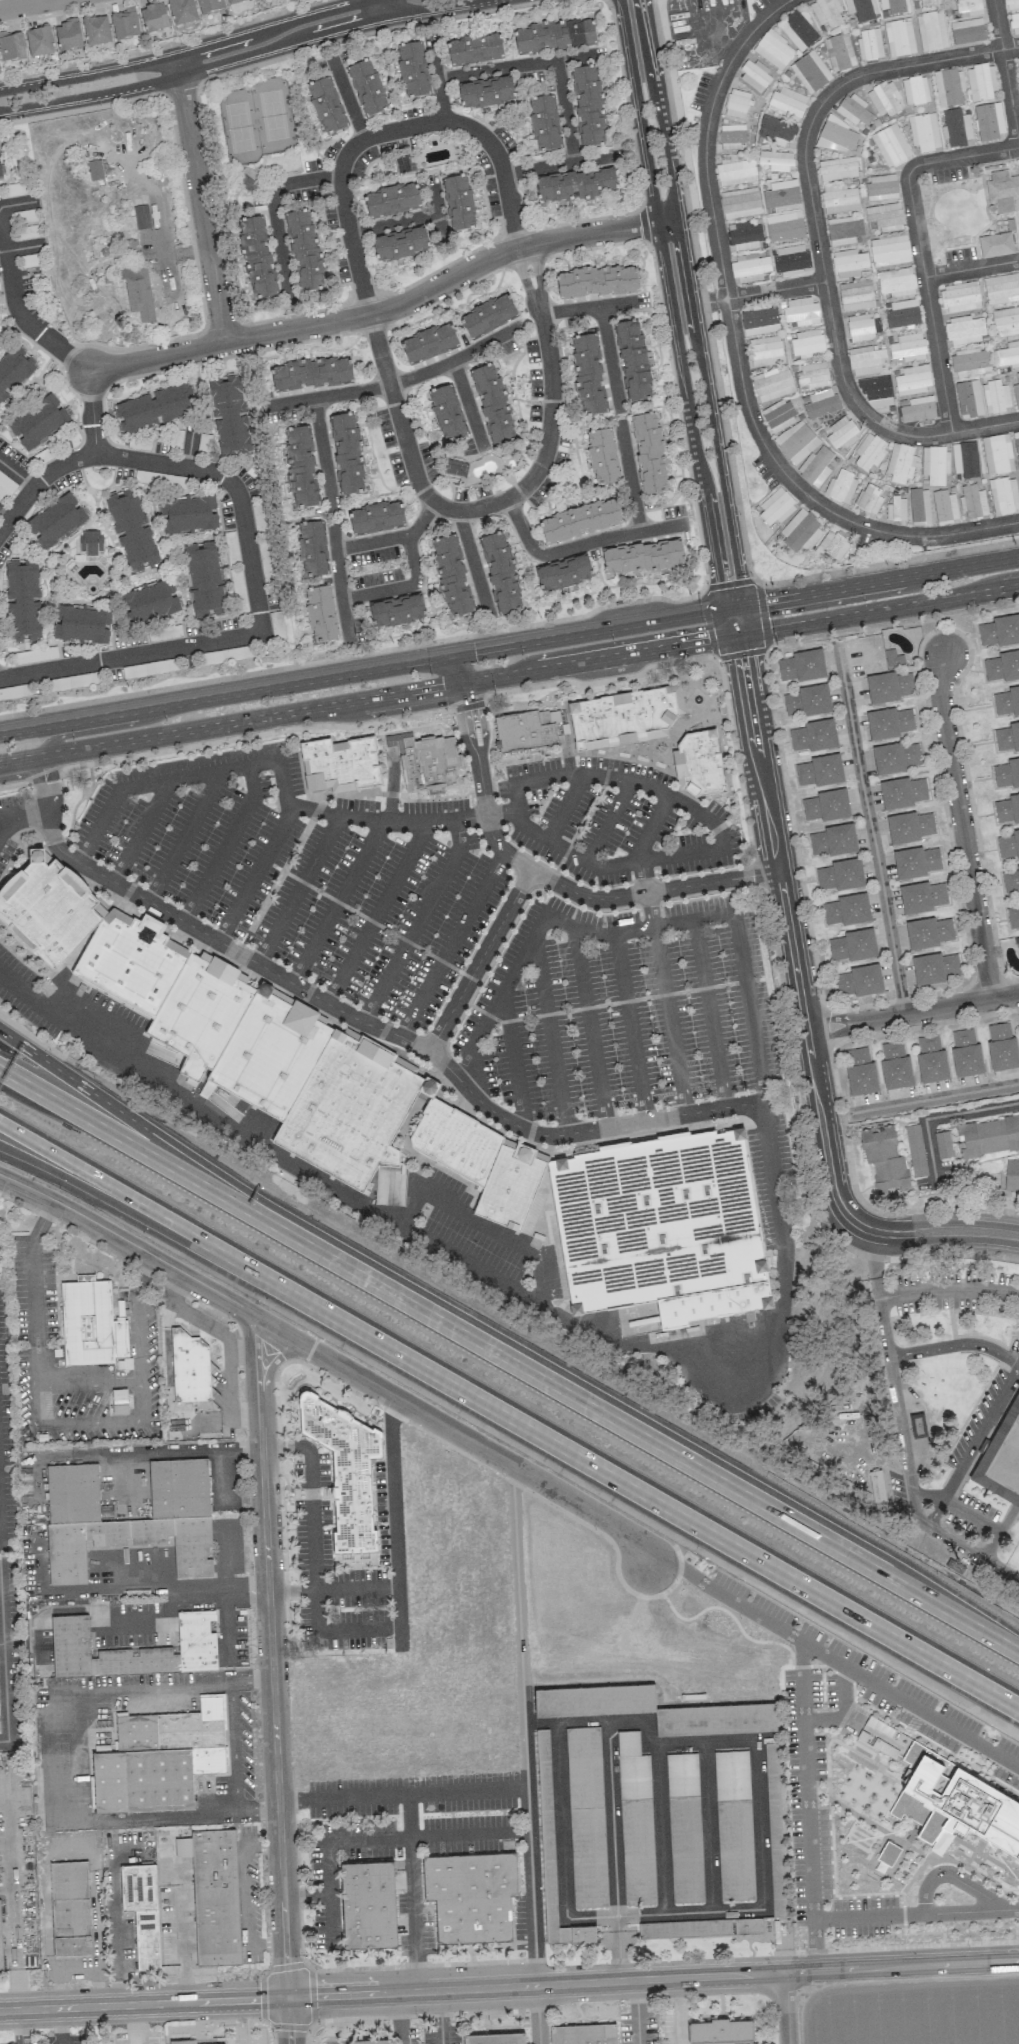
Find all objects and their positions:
building: (913, 0)
building: (234, 1)
building: (929, 2)
road: (25, 4)
building: (209, 6)
building: (892, 6)
road: (381, 8)
building: (968, 8)
building: (861, 9)
building: (181, 11)
building: (826, 12)
building: (153, 17)
building: (1013, 23)
building: (125, 24)
building: (96, 30)
building: (798, 30)
building: (932, 31)
building: (967, 31)
building: (67, 36)
building: (554, 36)
building: (899, 37)
building: (38, 41)
building: (869, 44)
building: (11, 46)
building: (474, 49)
building: (773, 49)
road: (189, 52)
building: (839, 52)
road: (235, 56)
road: (177, 64)
building: (1018, 64)
road: (519, 65)
road: (1006, 66)
building: (411, 71)
building: (810, 72)
building: (753, 75)
road: (437, 78)
building: (980, 83)
building: (948, 87)
building: (367, 88)
building: (915, 90)
building: (485, 93)
road: (348, 98)
building: (883, 99)
building: (787, 103)
building: (736, 104)
building: (326, 106)
building: (588, 107)
building: (854, 110)
road: (565, 111)
park: (254, 121)
building: (989, 121)
building: (544, 124)
building: (956, 128)
building: (777, 132)
building: (923, 132)
road: (479, 134)
building: (834, 135)
building: (731, 136)
building: (891, 145)
building: (774, 161)
road: (563, 163)
building: (404, 164)
building: (1, 168)
building: (837, 168)
building: (735, 171)
building: (96, 172)
building: (575, 187)
building: (881, 187)
building: (1002, 191)
building: (781, 196)
building: (838, 199)
building: (391, 201)
road: (17, 203)
building: (458, 203)
building: (740, 203)
road: (201, 207)
road: (436, 209)
road: (273, 213)
building: (885, 216)
building: (143, 218)
road: (393, 222)
building: (784, 227)
road: (599, 231)
building: (843, 231)
building: (744, 236)
road: (818, 236)
building: (399, 244)
building: (995, 245)
road: (24, 247)
road: (918, 247)
road: (168, 249)
building: (889, 250)
building: (304, 252)
building: (256, 257)
building: (790, 261)
building: (848, 263)
building: (749, 268)
road: (971, 270)
road: (536, 271)
road: (523, 276)
building: (596, 282)
building: (895, 283)
building: (1001, 288)
road: (776, 291)
building: (141, 294)
building: (855, 295)
building: (959, 297)
road: (693, 302)
road: (672, 304)
road: (591, 308)
road: (17, 309)
building: (800, 311)
building: (903, 314)
building: (488, 316)
building: (759, 321)
road: (309, 325)
building: (859, 328)
building: (963, 330)
road: (374, 332)
building: (428, 343)
building: (807, 344)
building: (908, 348)
building: (765, 351)
road: (737, 353)
building: (1009, 355)
road: (455, 359)
road: (610, 359)
building: (865, 360)
building: (633, 361)
building: (970, 362)
building: (15, 371)
building: (311, 374)
building: (811, 374)
building: (588, 376)
building: (913, 379)
building: (772, 384)
building: (1016, 392)
road: (327, 395)
building: (995, 396)
building: (968, 399)
road: (467, 404)
building: (821, 404)
building: (492, 405)
building: (155, 409)
building: (917, 409)
road: (91, 412)
building: (447, 413)
building: (778, 416)
building: (230, 418)
building: (40, 423)
road: (549, 432)
building: (840, 434)
building: (796, 441)
building: (1016, 441)
building: (869, 452)
road: (322, 454)
building: (346, 454)
building: (649, 454)
building: (997, 454)
building: (601, 457)
building: (1018, 462)
building: (899, 463)
building: (815, 466)
building: (300, 467)
building: (455, 468)
road: (630, 476)
road: (39, 480)
building: (6, 487)
building: (840, 487)
road: (235, 488)
building: (1003, 496)
building: (868, 498)
building: (943, 506)
building: (775, 507)
building: (919, 507)
building: (896, 510)
building: (190, 515)
road: (3, 516)
building: (375, 518)
building: (580, 520)
building: (57, 521)
building: (133, 531)
building: (800, 531)
road: (392, 538)
building: (91, 543)
building: (832, 545)
road: (579, 546)
building: (312, 549)
building: (643, 558)
road: (473, 561)
building: (500, 573)
building: (563, 573)
building: (451, 576)
building: (207, 580)
road: (338, 581)
traffic signals: (720, 582)
road: (876, 582)
road: (401, 586)
traffic signals: (771, 600)
building: (24, 602)
building: (150, 603)
road: (878, 610)
building: (396, 611)
building: (320, 613)
road: (736, 620)
building: (82, 624)
building: (999, 631)
road: (581, 632)
traffic signals: (704, 641)
traffic signals: (474, 651)
road: (131, 654)
road: (353, 655)
road: (601, 658)
road: (715, 658)
building: (893, 659)
traffic signals: (743, 661)
road: (449, 665)
building: (801, 666)
building: (1002, 666)
road: (598, 681)
traffic signals: (442, 686)
building: (889, 686)
road: (214, 696)
building: (806, 701)
building: (1007, 701)
road: (466, 705)
traffic signals: (469, 711)
building: (626, 720)
road: (232, 722)
building: (890, 722)
road: (99, 729)
building: (527, 732)
road: (254, 735)
building: (813, 736)
building: (1007, 738)
building: (895, 757)
road: (256, 763)
building: (341, 764)
building: (432, 767)
building: (700, 767)
building: (820, 770)
building: (1006, 773)
road: (13, 785)
building: (902, 792)
building: (826, 805)
road: (566, 809)
building: (1007, 809)
road: (20, 820)
road: (402, 821)
road: (4, 822)
parking lot: (614, 822)
road: (610, 824)
road: (961, 826)
building: (910, 827)
parking lot: (11, 828)
road: (870, 829)
road: (140, 831)
road: (184, 836)
building: (833, 840)
road: (226, 844)
building: (1009, 844)
road: (711, 848)
building: (916, 862)
parking lot: (308, 875)
building: (840, 875)
road: (550, 880)
building: (1010, 881)
road: (298, 890)
building: (922, 897)
road: (782, 899)
road: (336, 902)
building: (847, 910)
building: (48, 912)
road: (376, 912)
building: (1013, 916)
road: (418, 922)
building: (928, 932)
building: (1016, 942)
road: (452, 945)
building: (853, 945)
road: (659, 953)
road: (479, 960)
building: (132, 965)
building: (934, 968)
building: (859, 981)
parking lot: (25, 993)
parking lot: (622, 1012)
road: (912, 1012)
road: (710, 1015)
building: (201, 1016)
road: (361, 1021)
road: (631, 1027)
road: (591, 1029)
road: (551, 1039)
building: (1001, 1046)
building: (966, 1053)
building: (270, 1056)
building: (931, 1059)
road: (513, 1062)
building: (895, 1065)
building: (860, 1071)
building: (206, 1089)
road: (936, 1097)
building: (350, 1114)
road: (937, 1116)
road: (128, 1117)
building: (986, 1136)
road: (124, 1142)
building: (457, 1144)
building: (915, 1150)
building: (884, 1161)
building: (1012, 1174)
building: (511, 1190)
road: (121, 1193)
road: (837, 1198)
road: (120, 1207)
road: (42, 1222)
building: (663, 1231)
road: (939, 1231)
road: (876, 1265)
road: (948, 1289)
road: (35, 1312)
road: (137, 1319)
road: (201, 1322)
building: (90, 1323)
road: (734, 1335)
road: (332, 1360)
building: (188, 1366)
road: (1005, 1387)
road: (229, 1392)
road: (567, 1393)
building: (119, 1401)
road: (136, 1420)
road: (205, 1450)
building: (1002, 1457)
building: (343, 1473)
road: (630, 1484)
building: (876, 1486)
road: (911, 1489)
road: (312, 1518)
road: (394, 1523)
building: (128, 1530)
road: (121, 1588)
road: (726, 1598)
road: (176, 1599)
road: (316, 1610)
road: (952, 1613)
road: (1, 1617)
building: (196, 1639)
road: (271, 1679)
road: (4, 1692)
road: (909, 1705)
road: (842, 1708)
building: (654, 1710)
road: (523, 1725)
road: (237, 1749)
building: (159, 1758)
road: (73, 1767)
road: (757, 1770)
building: (681, 1774)
road: (401, 1793)
building: (947, 1795)
building: (586, 1817)
road: (611, 1817)
building: (635, 1821)
building: (734, 1825)
road: (564, 1842)
building: (552, 1849)
building: (685, 1849)
road: (329, 1851)
building: (776, 1872)
road: (953, 1878)
road: (811, 1884)
road: (412, 1891)
building: (214, 1894)
road: (307, 1895)
building: (470, 1895)
road: (244, 1896)
building: (367, 1904)
building: (69, 1908)
building: (142, 1911)
road: (116, 1918)
road: (12, 1922)
building: (699, 1927)
road: (814, 1945)
road: (618, 1947)
building: (0, 1952)
road: (509, 1986)
traffic signals: (287, 1996)
road: (785, 2008)
crop: (912, 2010)
road: (679, 2011)
road: (636, 2012)
road: (537, 2014)
road: (440, 2016)
road: (400, 2017)
road: (133, 2024)
road: (18, 2026)
road: (58, 2026)
building: (720, 2030)
building: (583, 2034)
building: (494, 2038)
building: (370, 2041)
road: (337, 2043)

